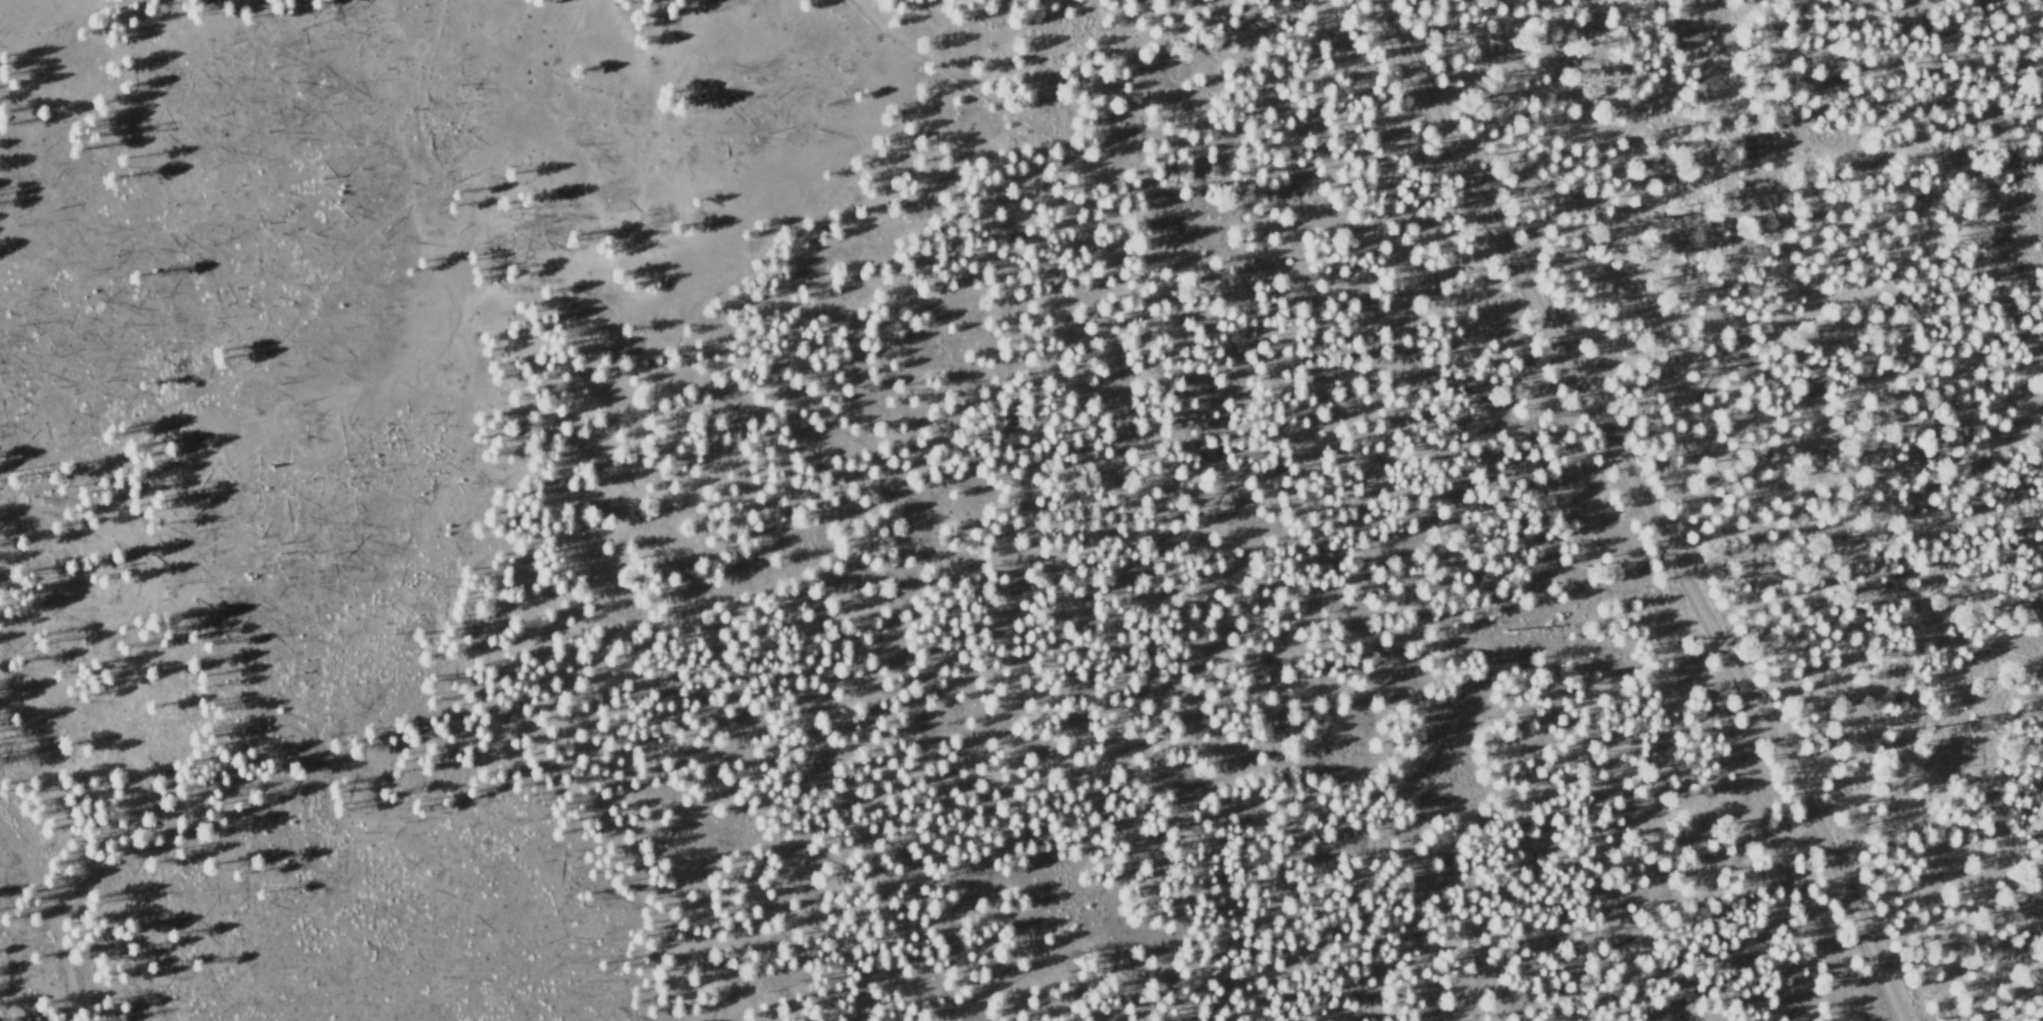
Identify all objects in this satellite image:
road: (1647, 506)
road: (58, 912)

